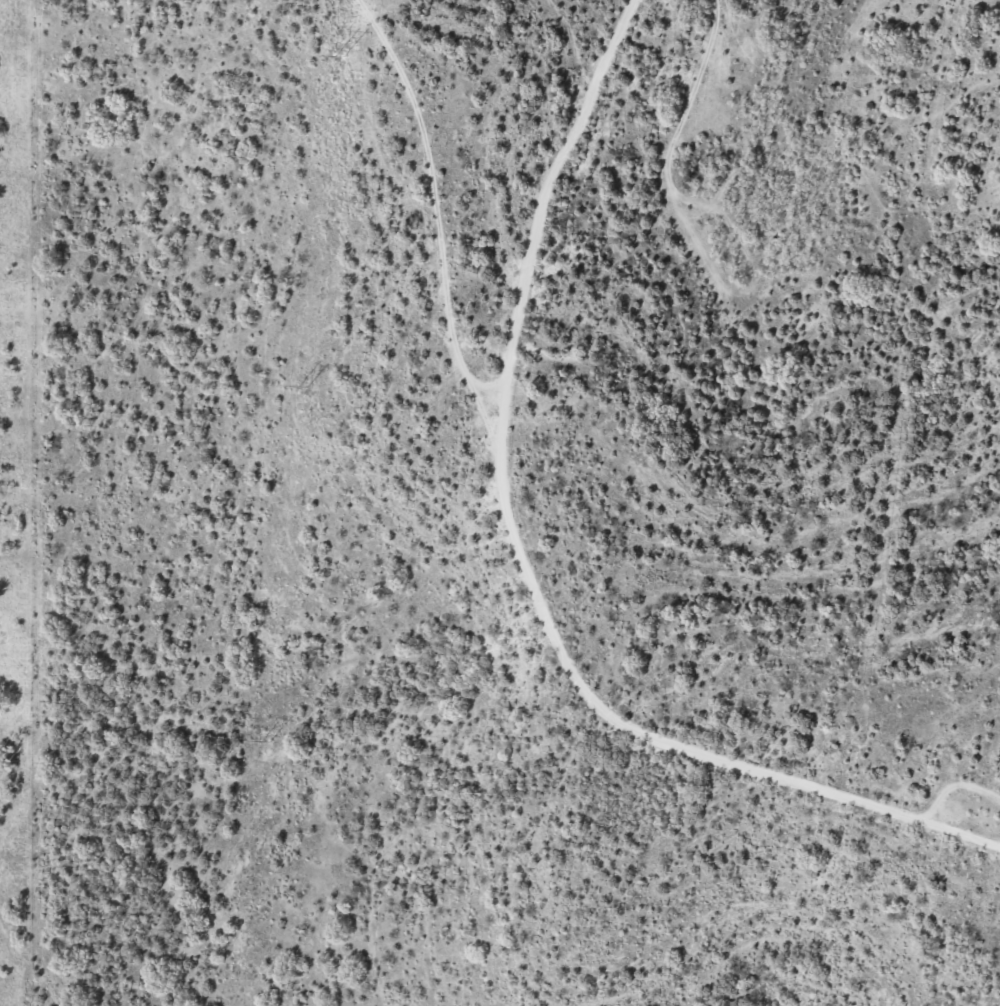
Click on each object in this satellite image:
power tower: (342, 55)
power tower: (305, 385)
road: (556, 535)
power tower: (267, 740)

